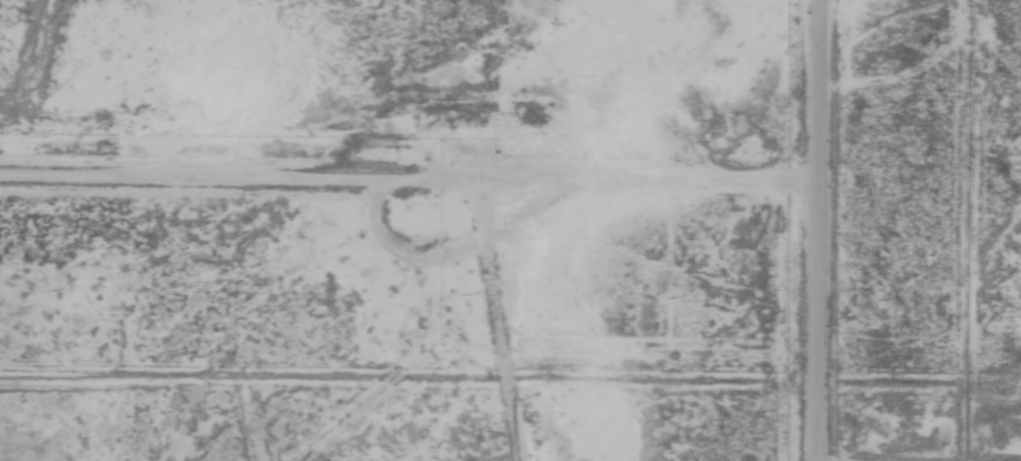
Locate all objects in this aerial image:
road: (653, 226)
road: (804, 230)
road: (342, 266)
road: (917, 369)

